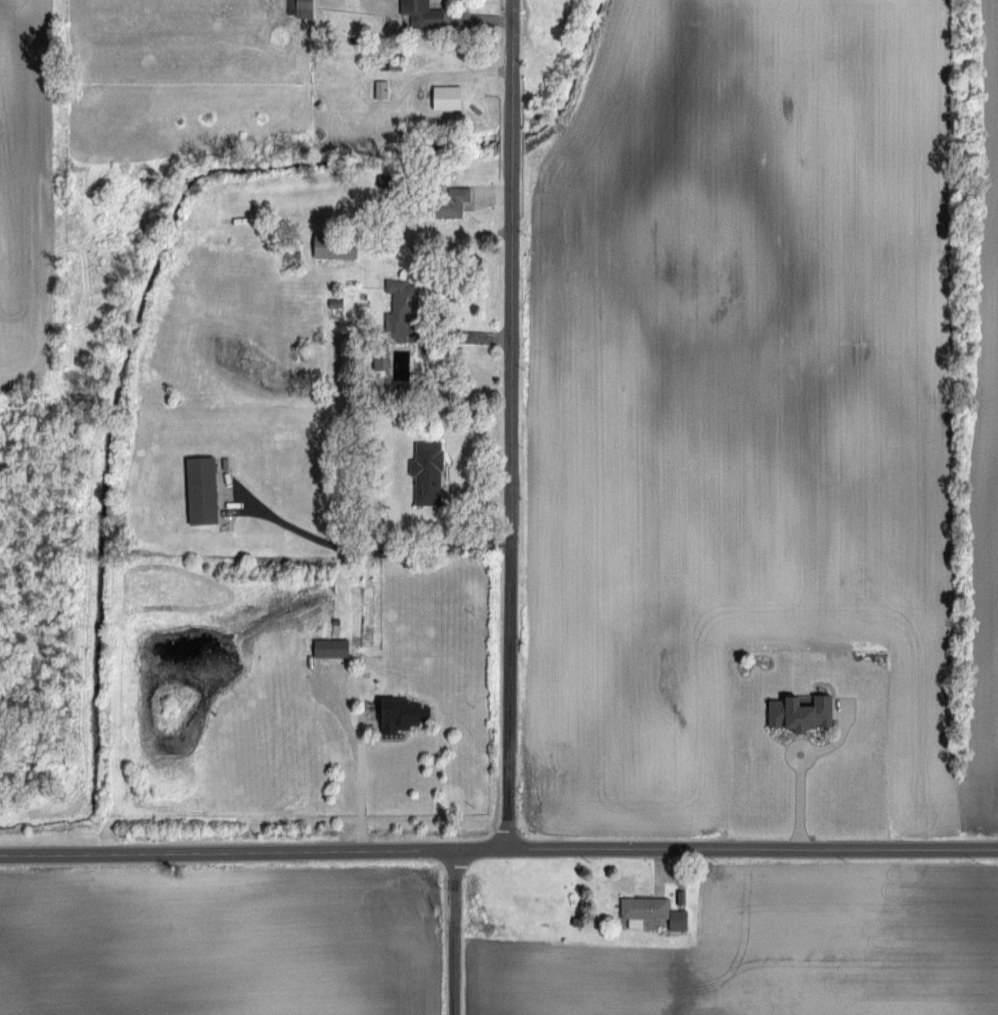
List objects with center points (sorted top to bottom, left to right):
building: (299, 7)
road: (507, 53)
building: (380, 88)
building: (446, 96)
road: (506, 136)
building: (452, 202)
building: (334, 246)
building: (399, 307)
building: (380, 355)
building: (426, 472)
building: (200, 474)
road: (512, 506)
road: (375, 554)
building: (326, 653)
building: (401, 719)
road: (354, 794)
road: (793, 800)
road: (498, 847)
road: (454, 931)

